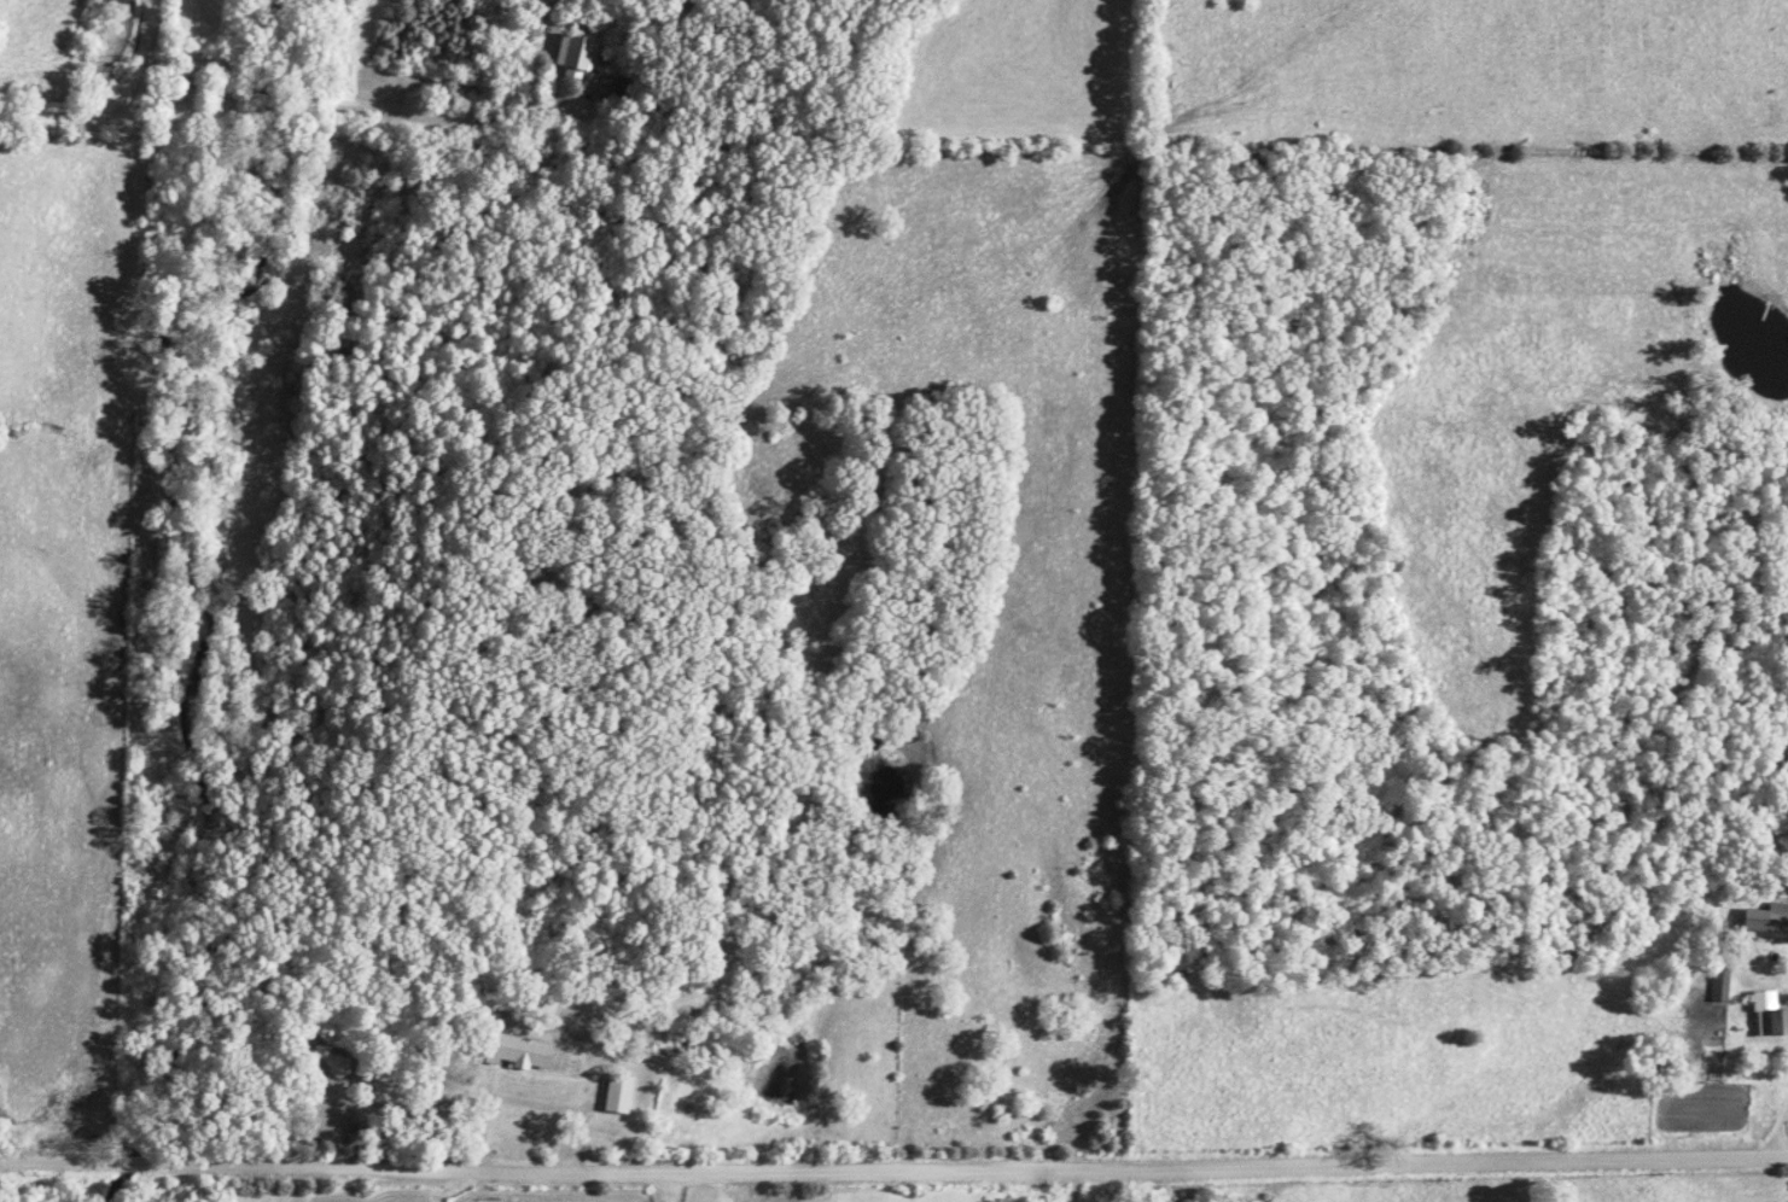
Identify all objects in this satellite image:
building: (576, 57)
road: (111, 107)
road: (363, 111)
building: (1766, 918)
building: (1719, 986)
building: (1769, 1015)
building: (517, 1052)
road: (1766, 1084)
building: (617, 1093)
road: (523, 1113)
road: (1770, 1137)
road: (893, 1177)
road: (672, 1189)

